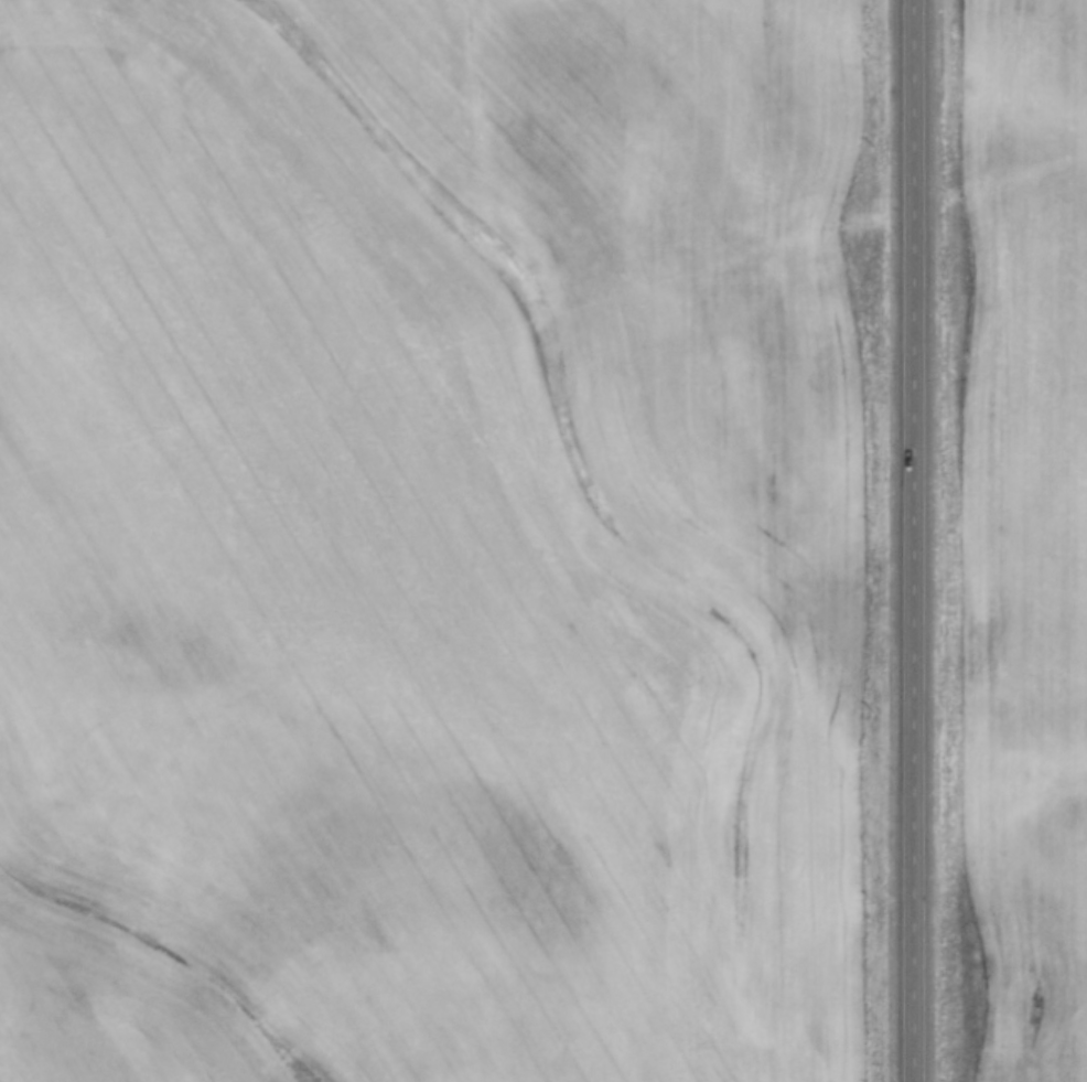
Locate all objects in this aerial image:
road: (916, 540)

